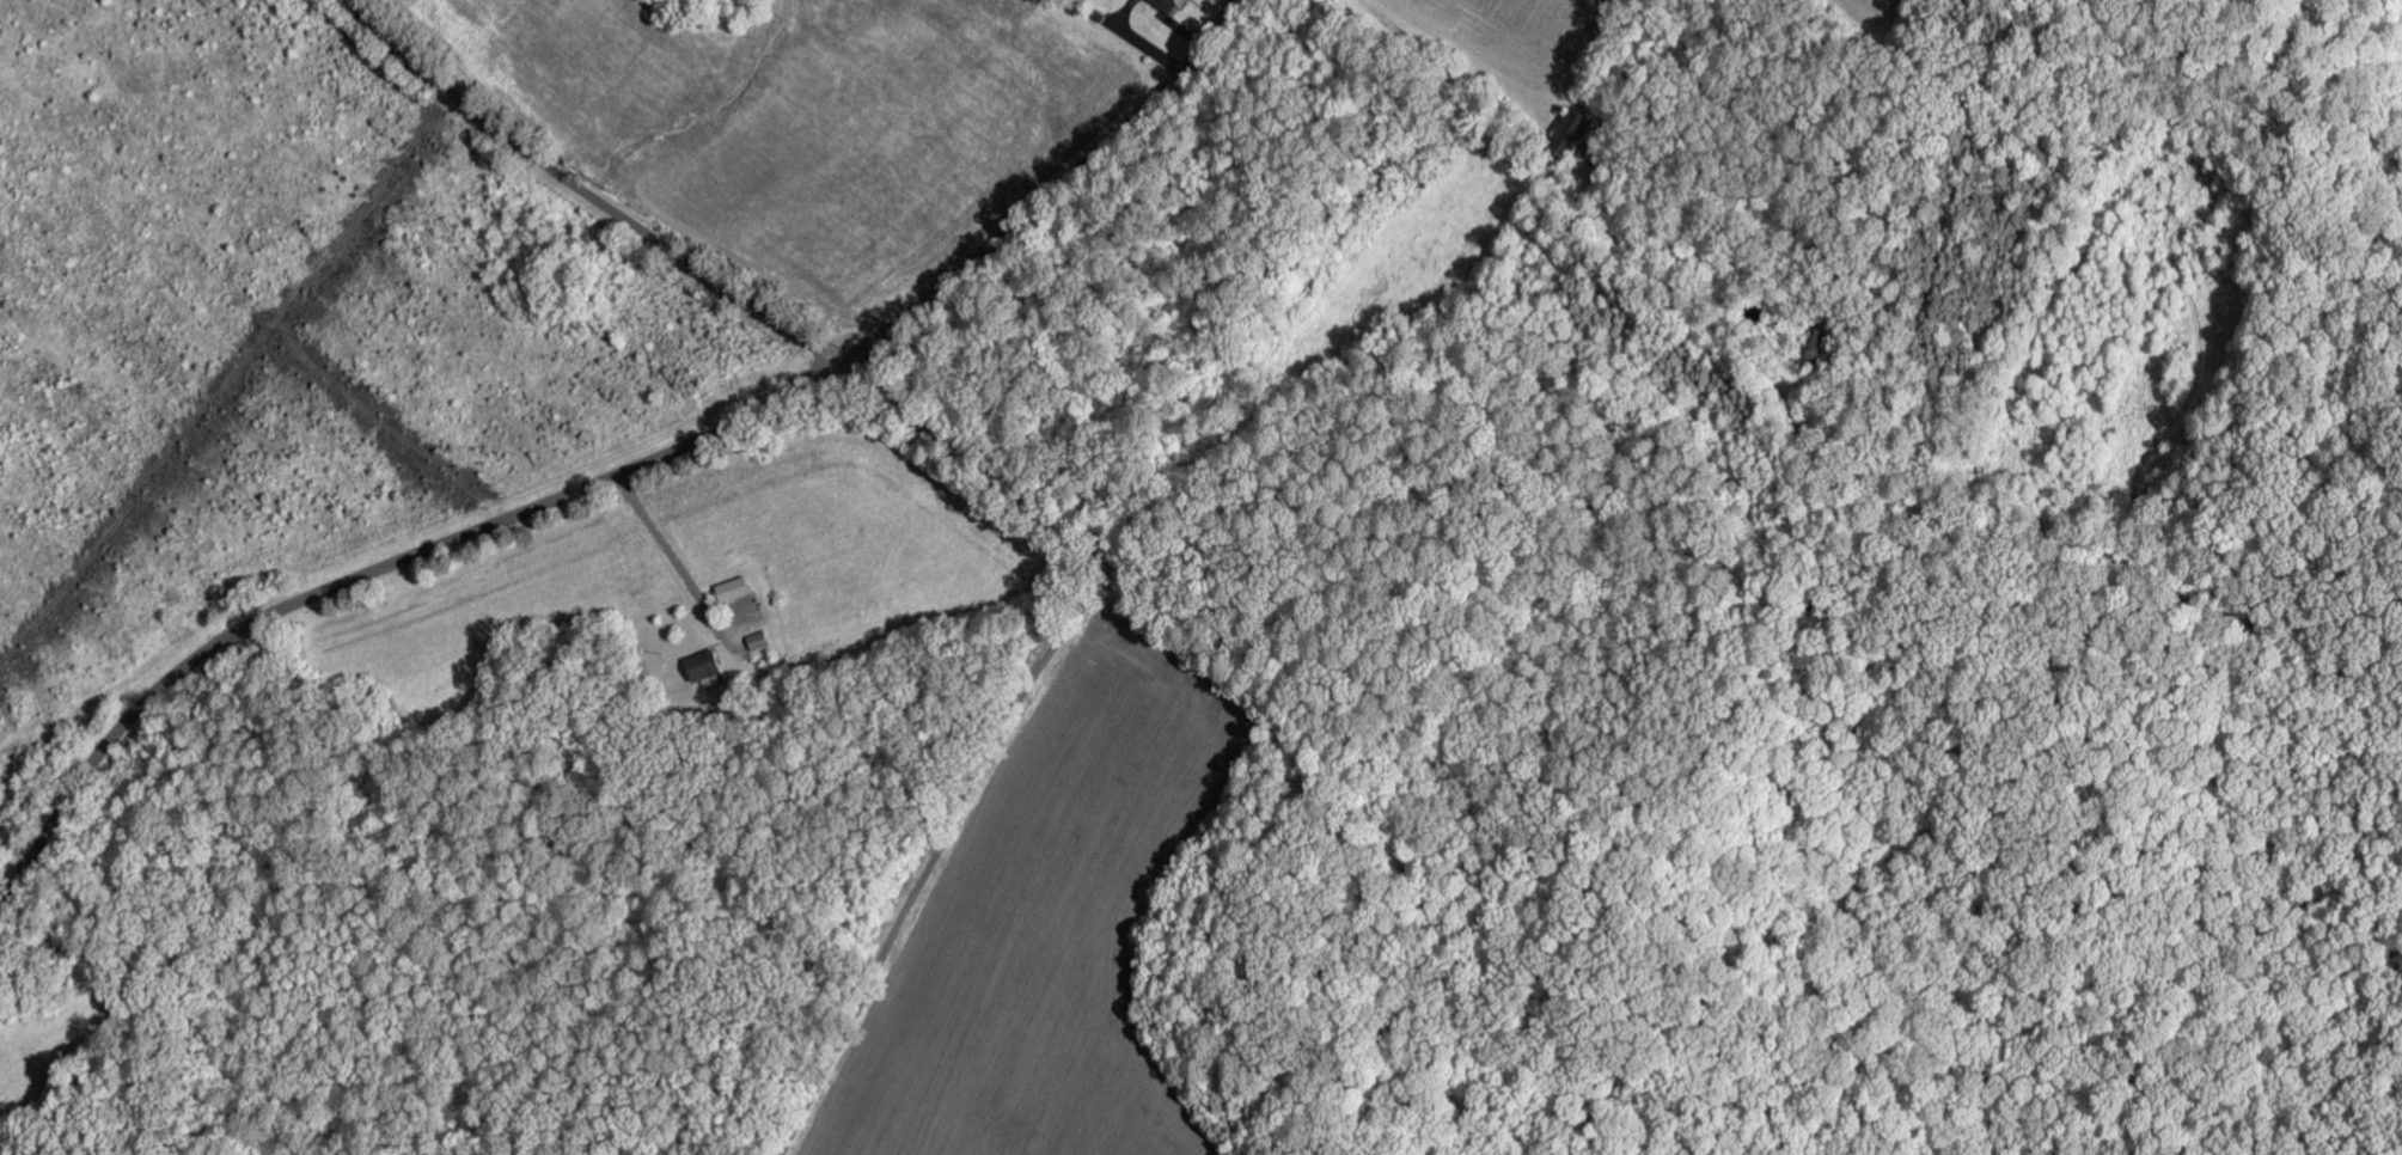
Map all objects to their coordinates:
building: (1172, 4)
building: (1570, 135)
road: (587, 194)
road: (1781, 426)
road: (619, 476)
building: (741, 589)
building: (764, 641)
building: (710, 668)
road: (1014, 707)

